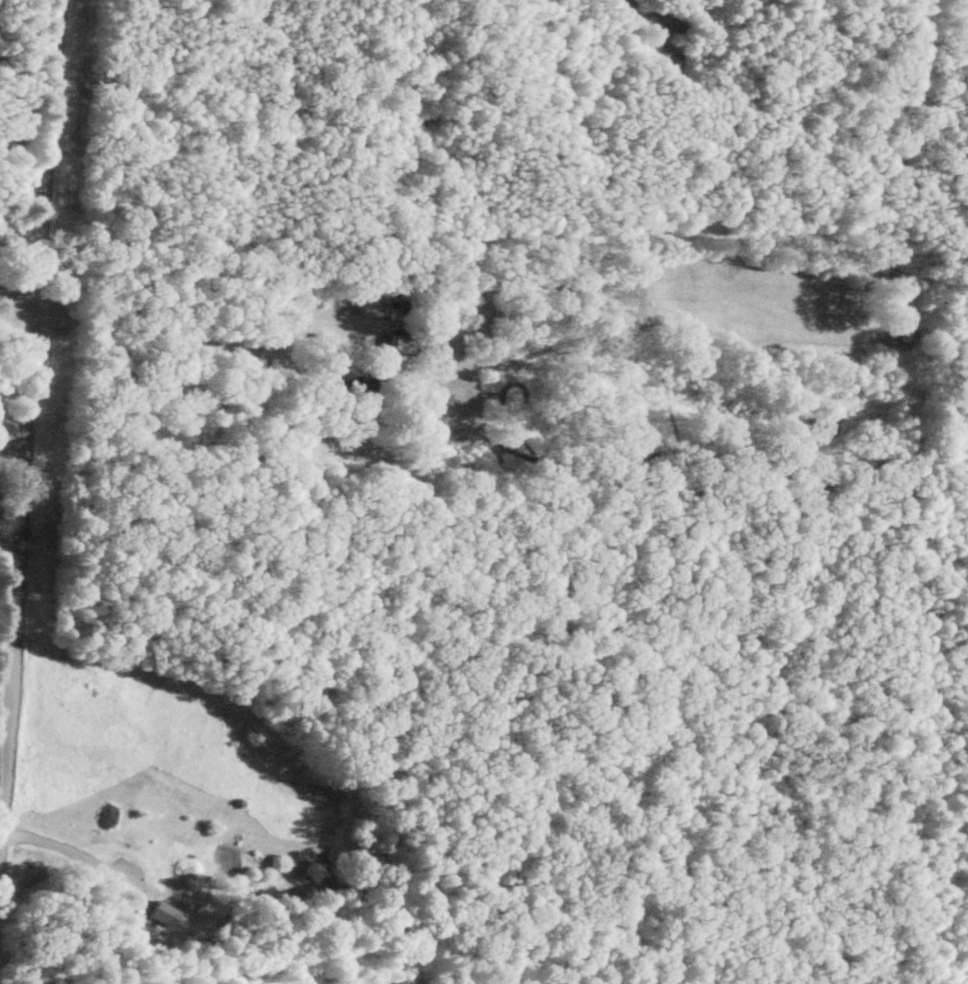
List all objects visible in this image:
road: (178, 335)
road: (31, 406)
road: (77, 852)

